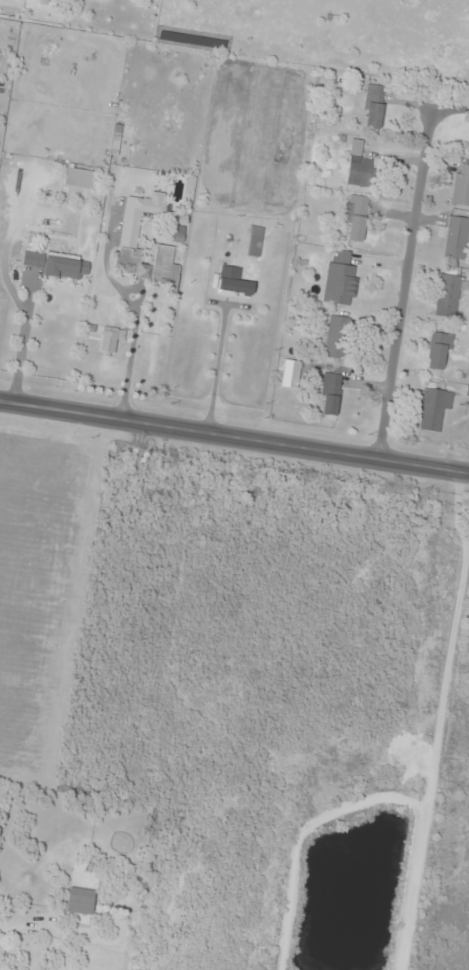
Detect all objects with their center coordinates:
building: (374, 107)
building: (359, 166)
building: (79, 179)
building: (461, 186)
building: (356, 218)
building: (130, 230)
building: (176, 238)
building: (457, 239)
building: (255, 242)
building: (58, 264)
building: (340, 280)
building: (235, 286)
road: (406, 286)
building: (450, 293)
building: (337, 338)
building: (439, 351)
road: (456, 391)
building: (330, 394)
building: (434, 408)
road: (234, 435)
road: (423, 583)
building: (77, 902)

